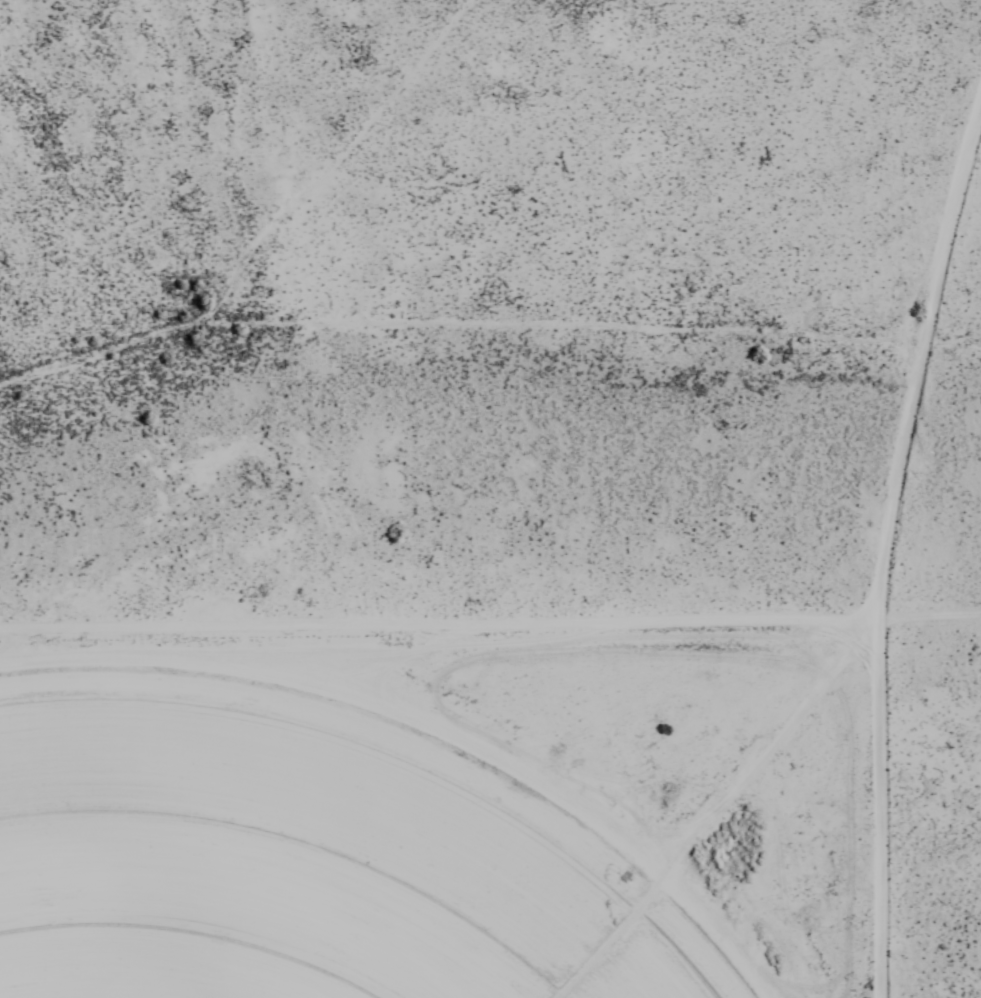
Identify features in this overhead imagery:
road: (490, 611)
road: (878, 803)
crop: (275, 878)

